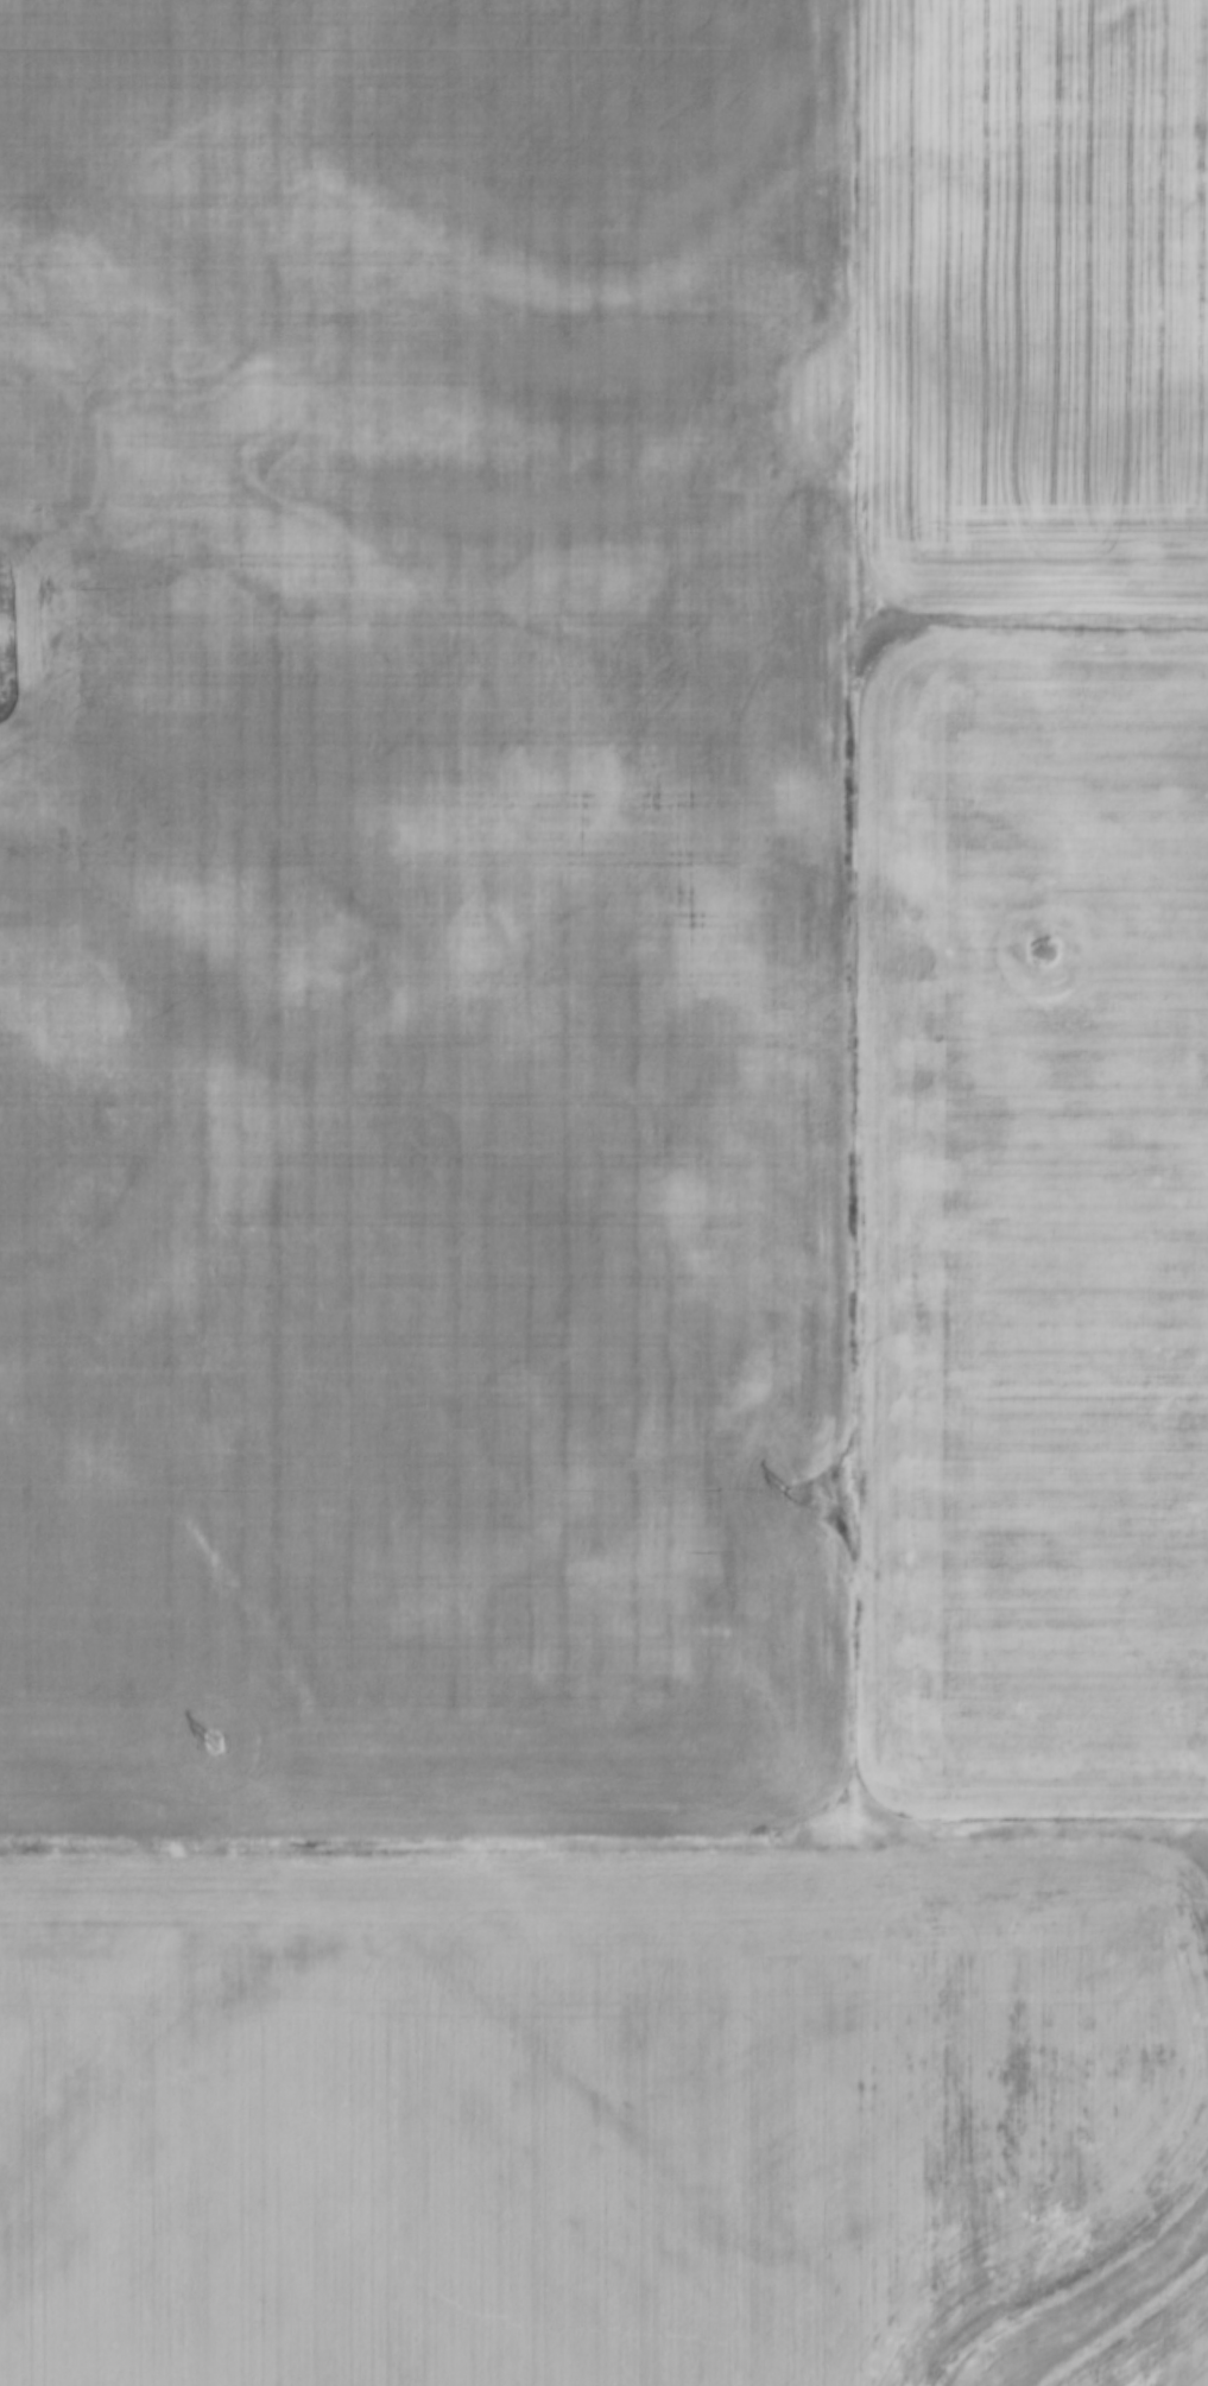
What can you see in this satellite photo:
power tower: (790, 1493)
power tower: (214, 1741)

